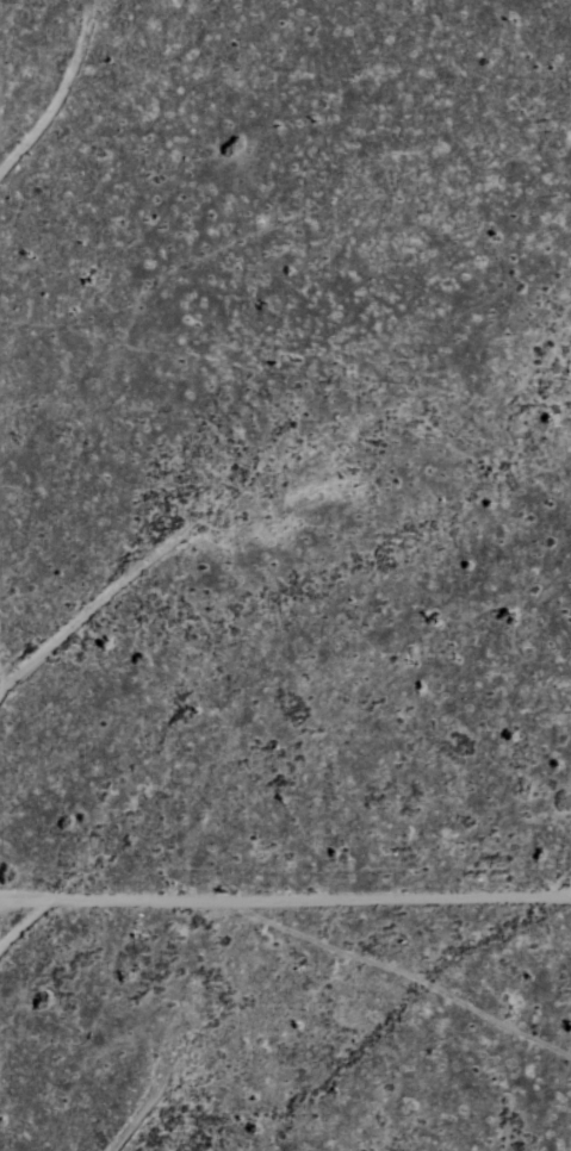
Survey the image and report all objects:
road: (285, 897)

